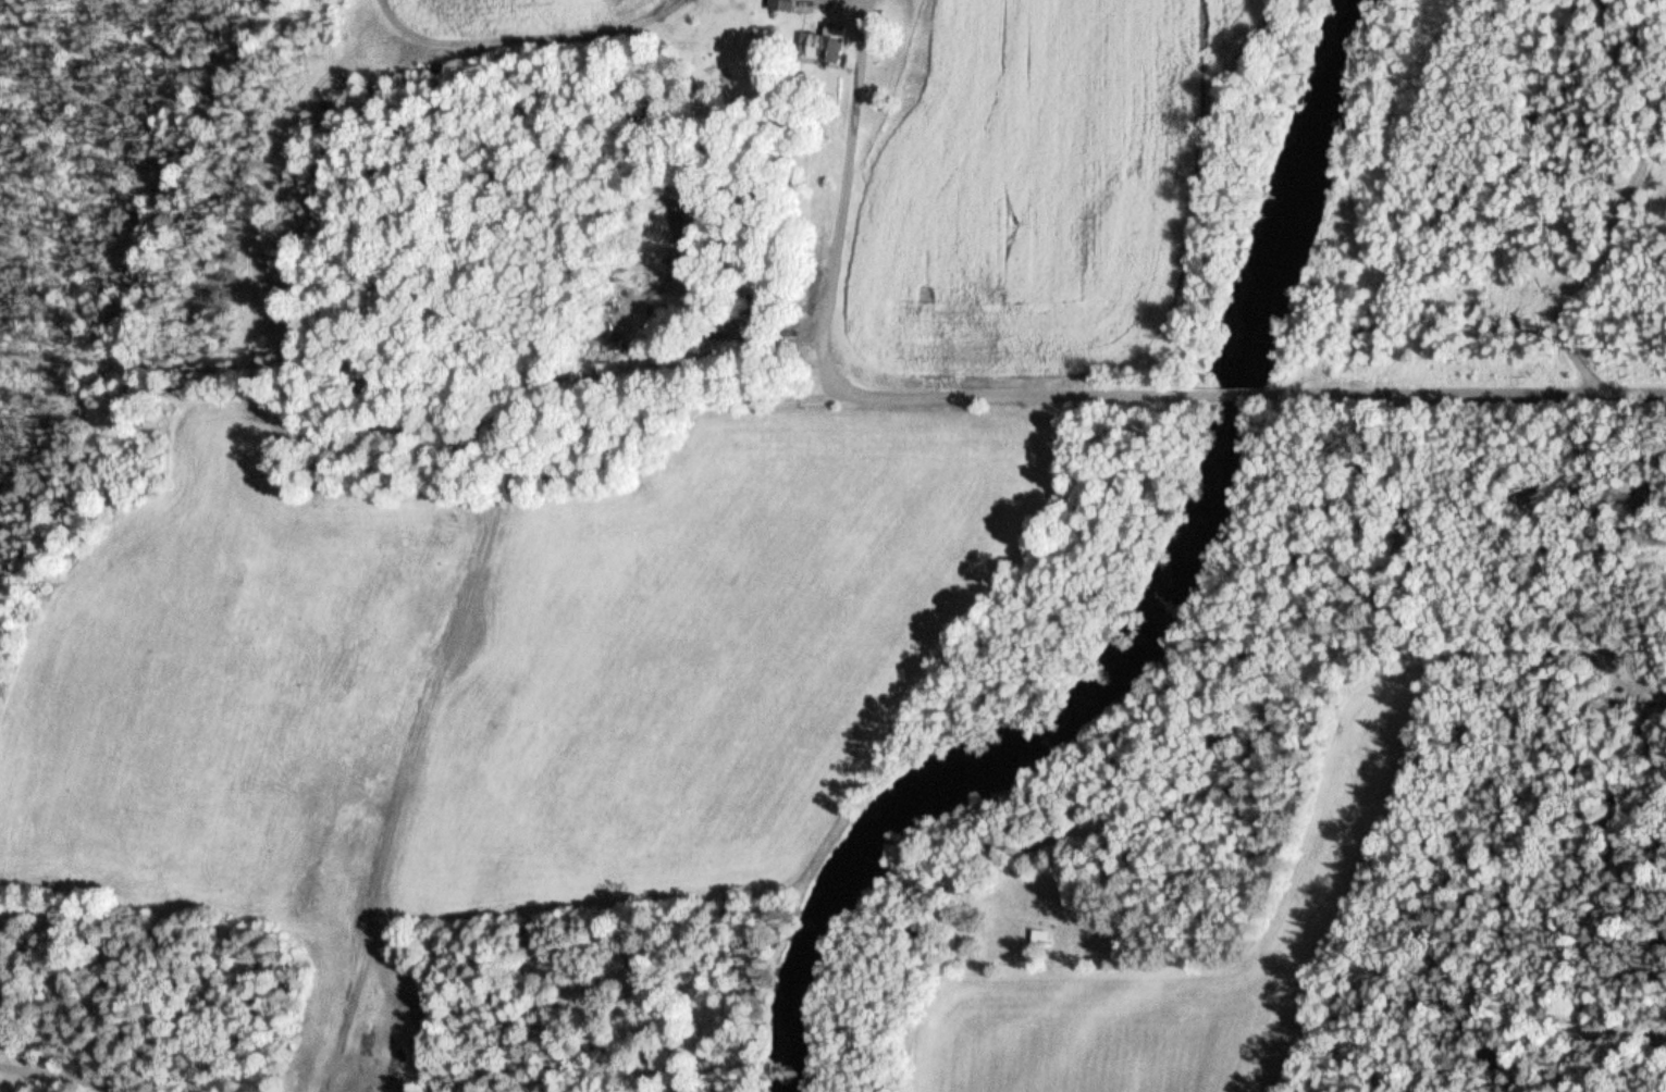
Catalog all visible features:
building: (824, 46)
road: (1602, 248)
road: (1472, 394)
road: (1244, 395)
road: (877, 398)
road: (493, 549)
river: (1172, 607)
road: (39, 1075)

